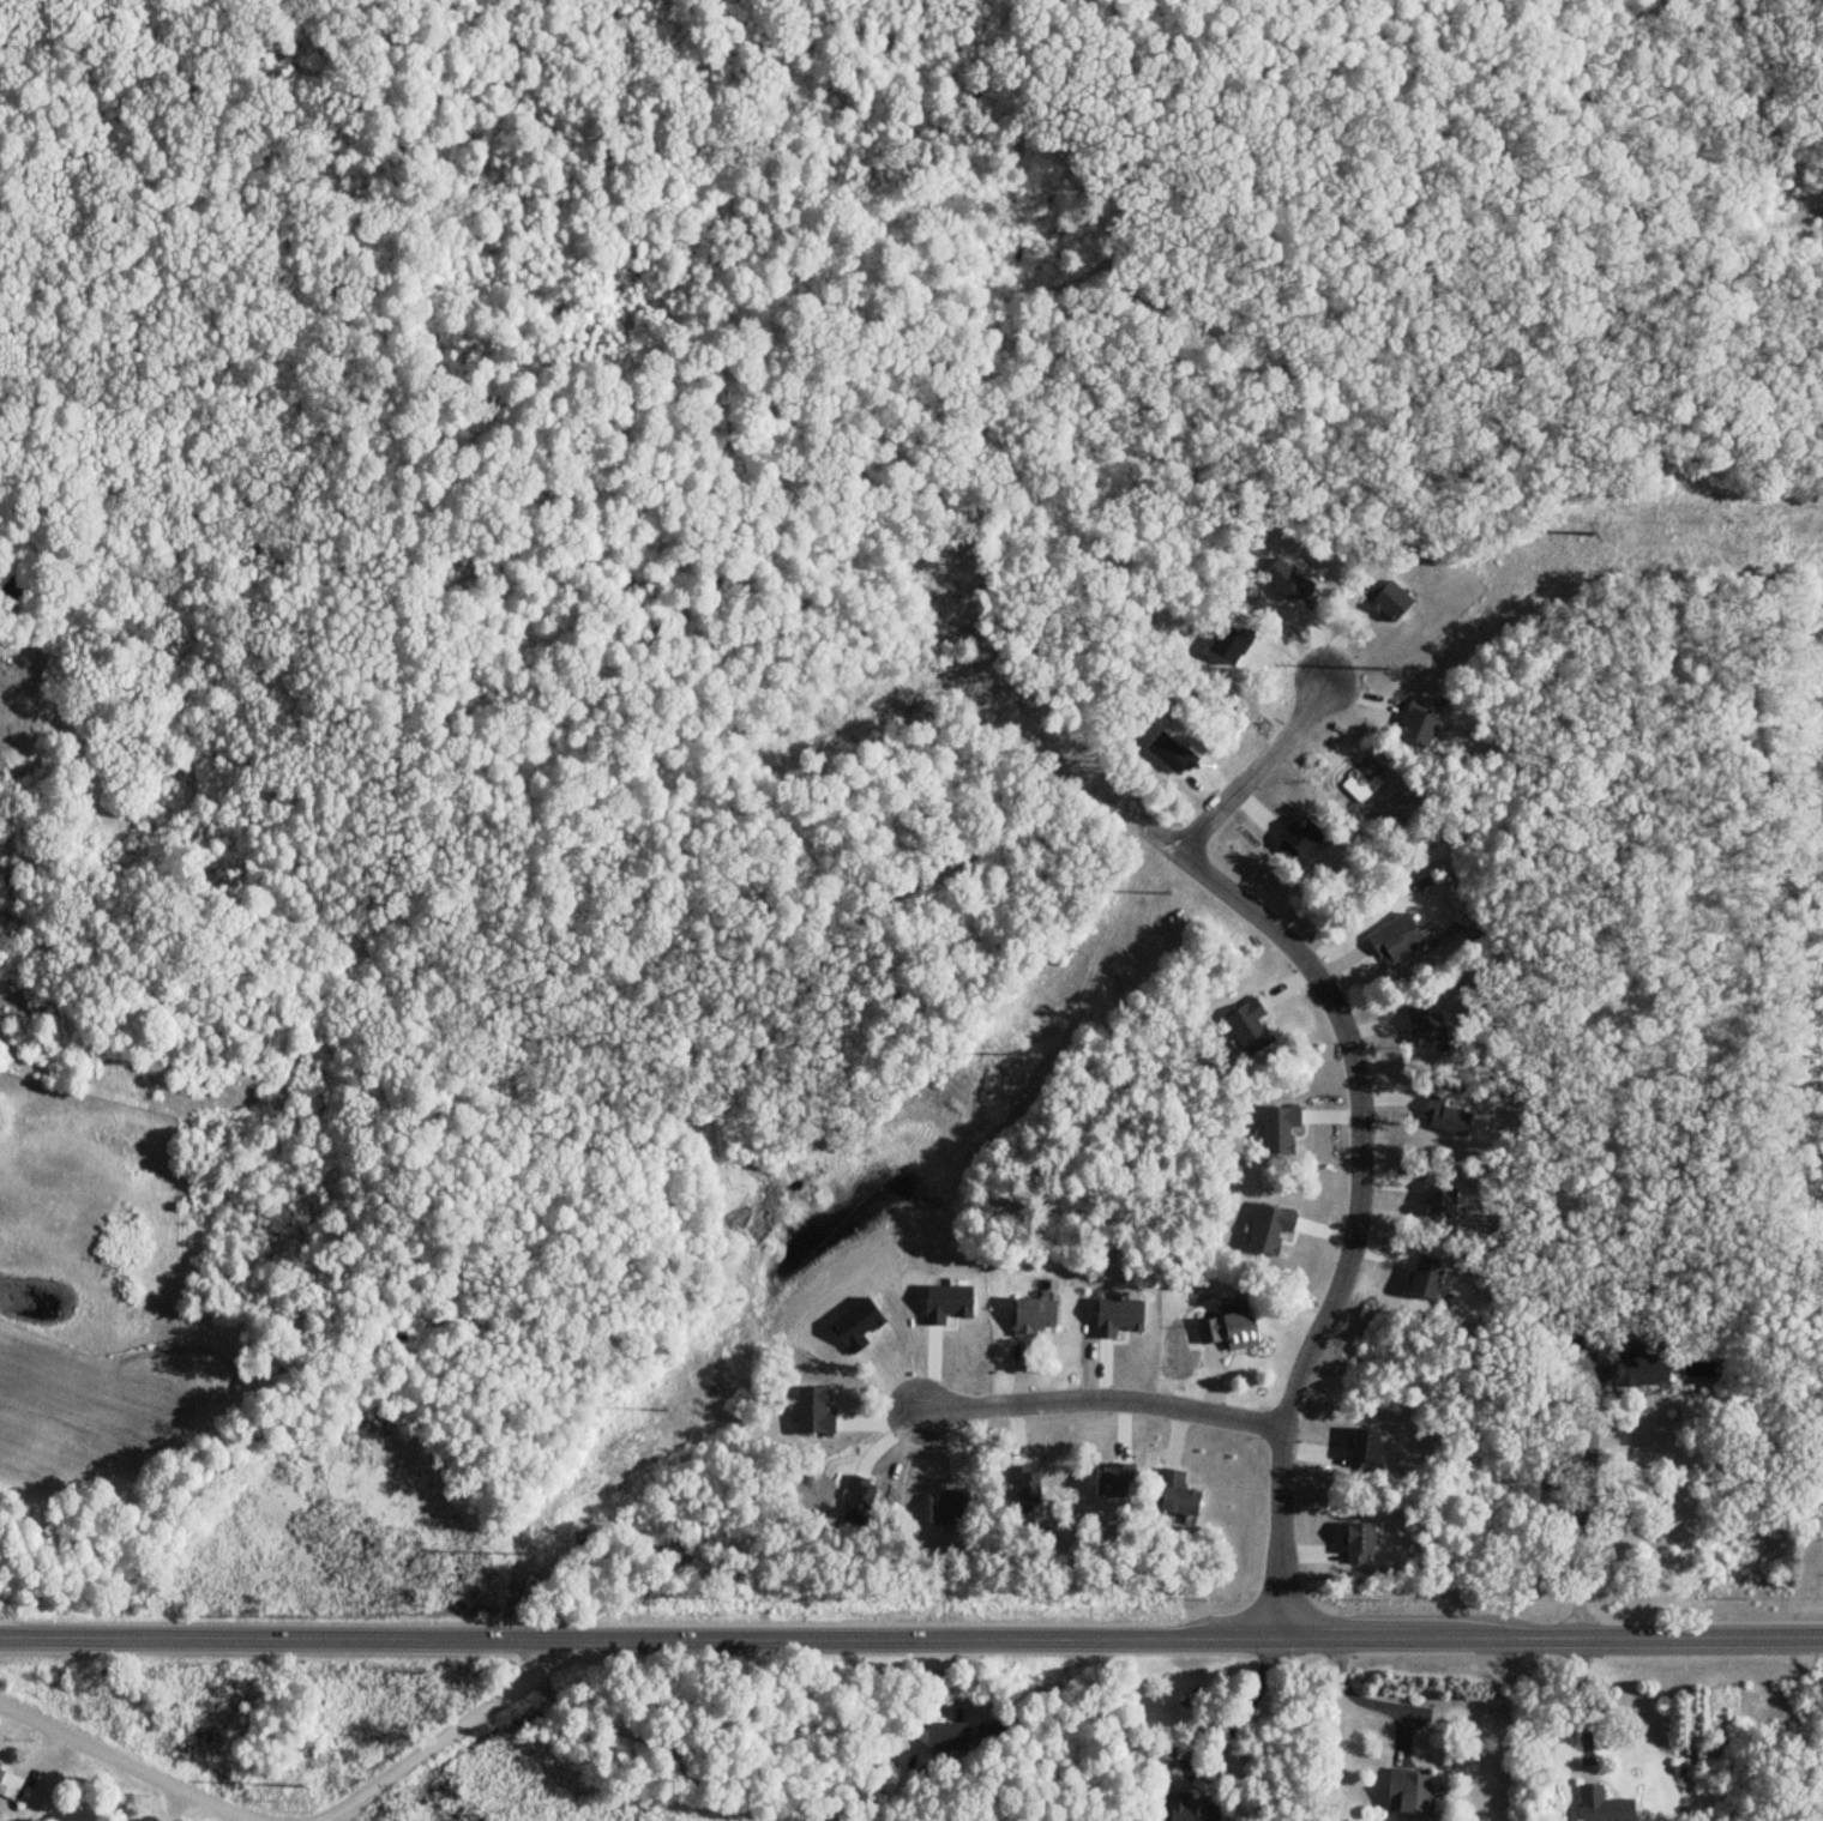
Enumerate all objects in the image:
power tower: (1594, 535)
power tower: (1385, 670)
road: (1251, 767)
power tower: (1163, 893)
building: (1395, 942)
power tower: (1009, 1054)
road: (1356, 1170)
building: (1031, 1317)
building: (1227, 1332)
building: (1641, 1370)
road: (1100, 1400)
power tower: (663, 1407)
road: (1592, 1421)
building: (1175, 1502)
power tower: (525, 1555)
road: (283, 1636)
road: (1195, 1639)
road: (1367, 1695)
road: (1584, 1702)
road: (1246, 1705)
road: (446, 1732)
building: (962, 1738)
road: (124, 1765)
building: (8, 1785)
power tower: (300, 1786)
building: (1402, 1793)
building: (1602, 1807)
building: (1186, 1815)

